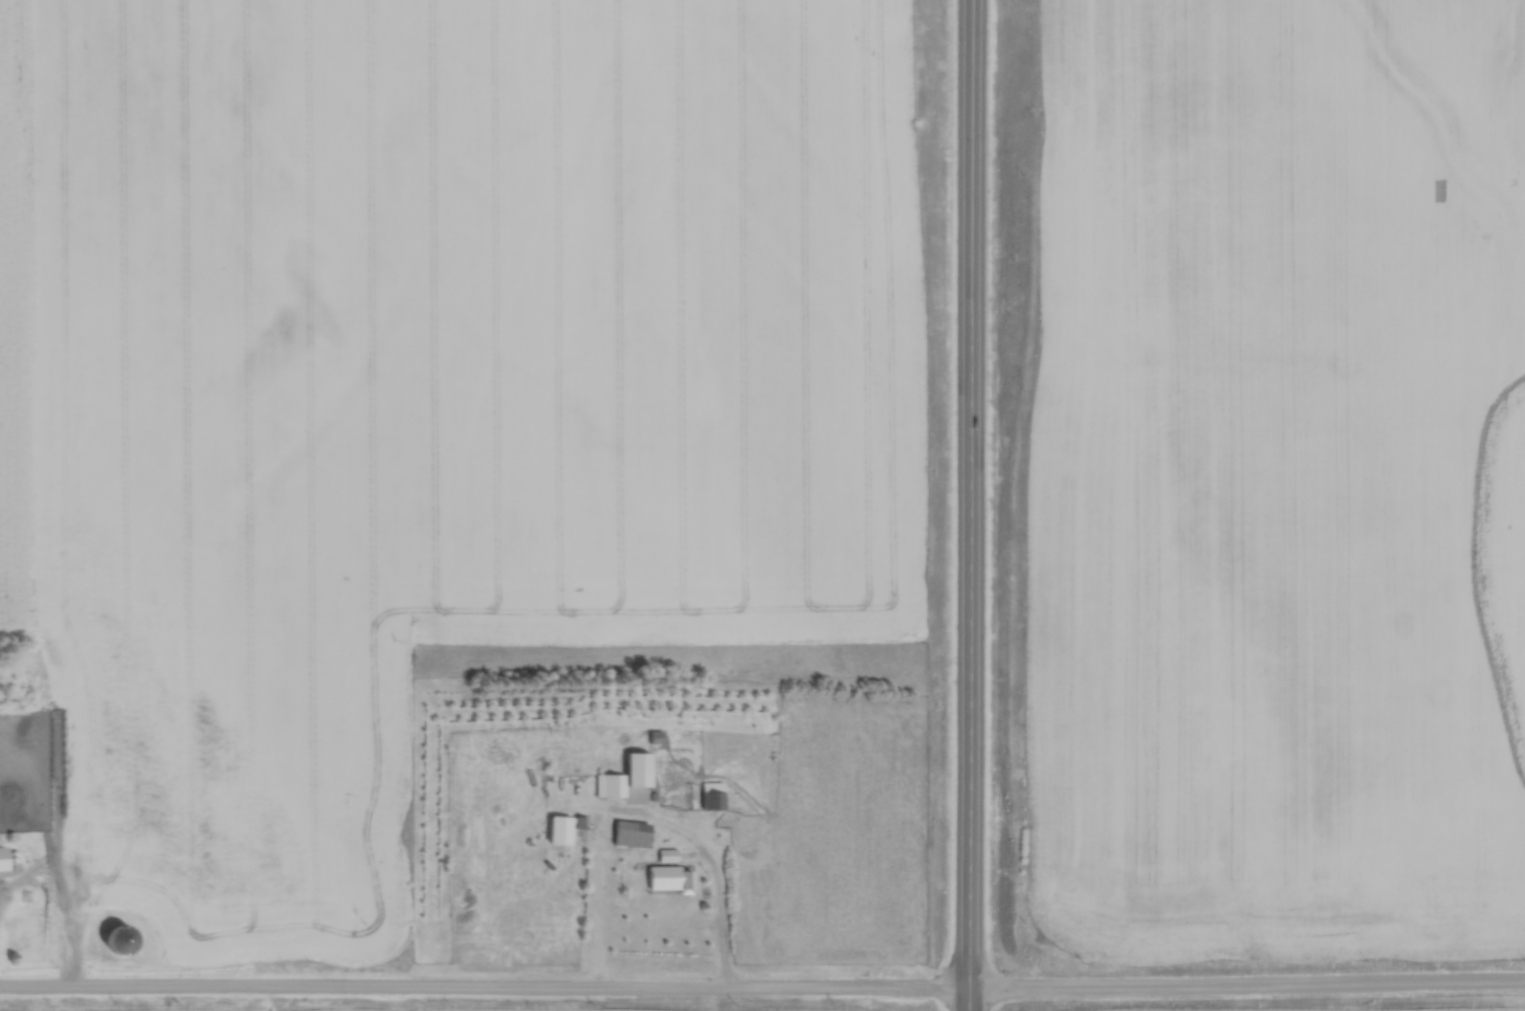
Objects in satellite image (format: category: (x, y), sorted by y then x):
road: (972, 505)
building: (635, 769)
building: (707, 795)
building: (628, 833)
building: (665, 855)
building: (8, 860)
building: (668, 878)
road: (723, 932)
road: (762, 985)

